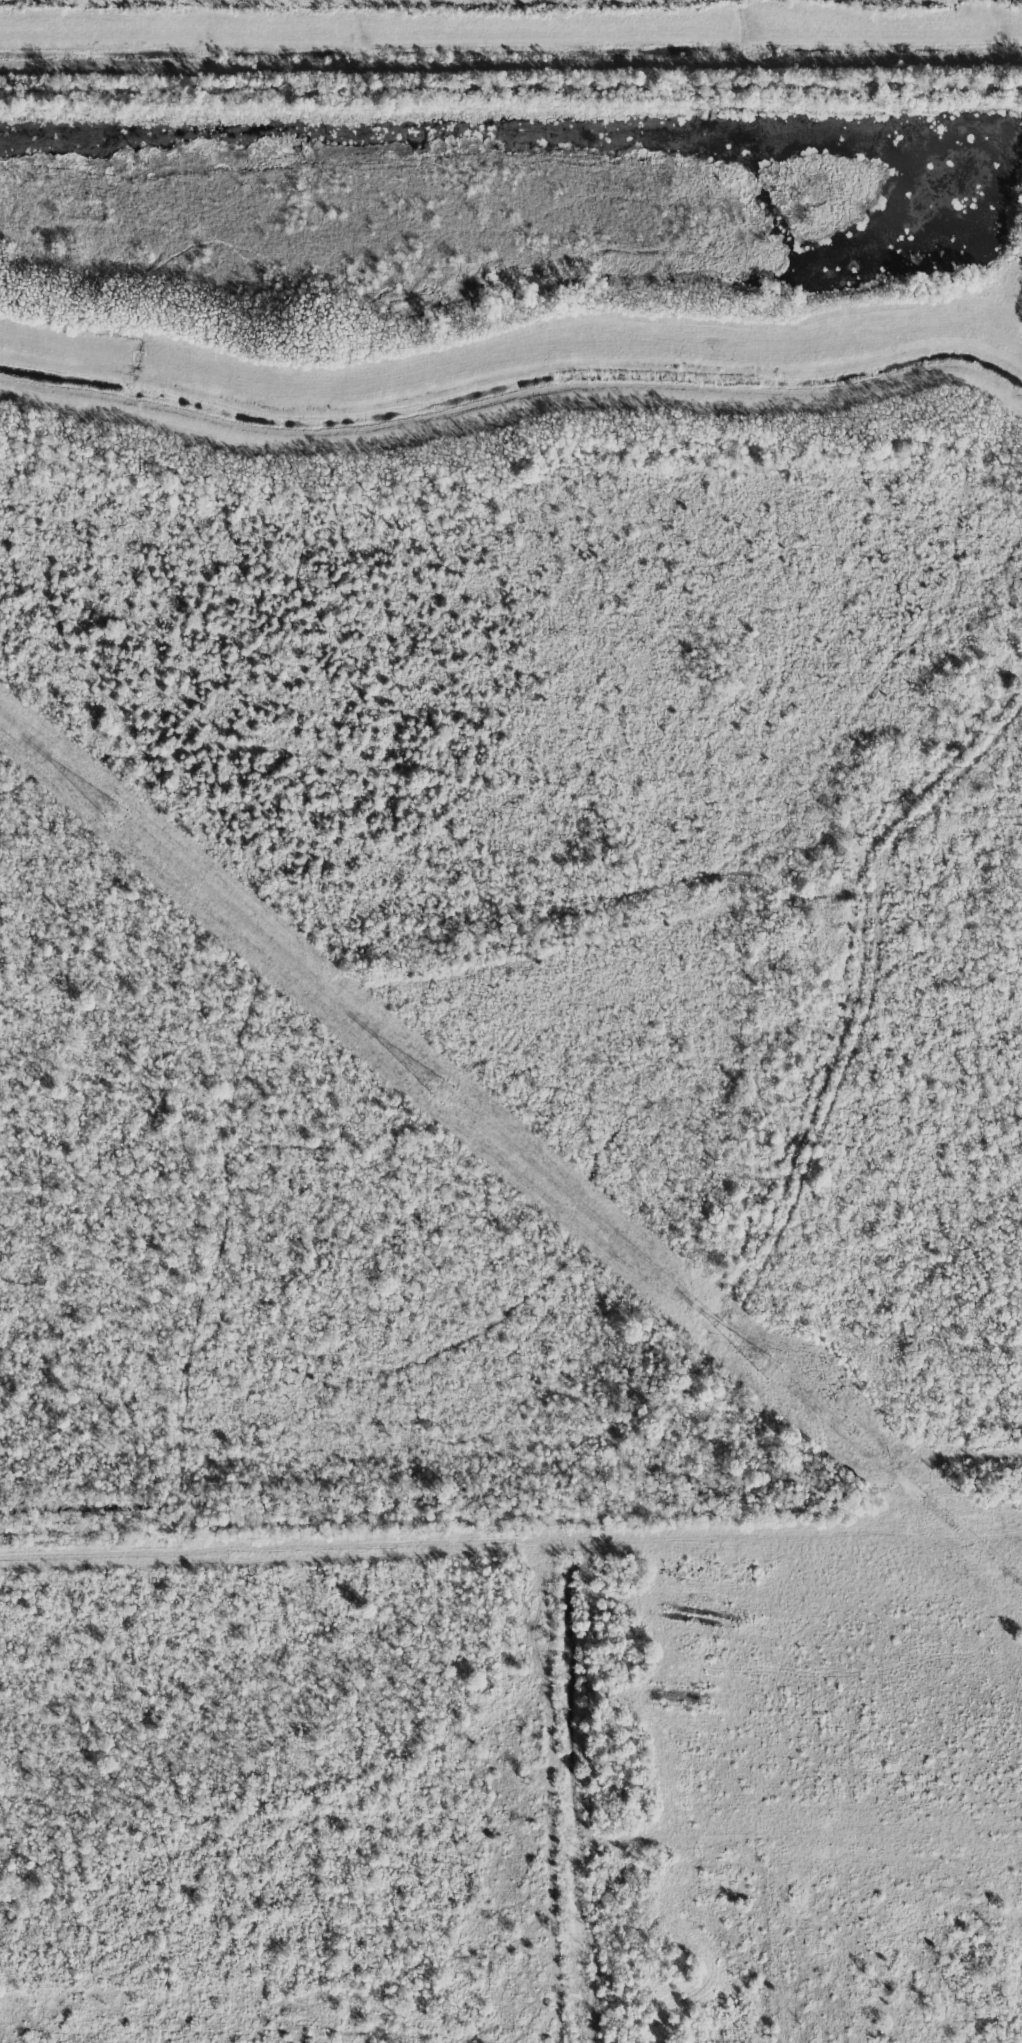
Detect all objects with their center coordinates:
power tower: (200, 885)
power tower: (461, 1107)
power tower: (723, 1329)
power tower: (984, 1550)

